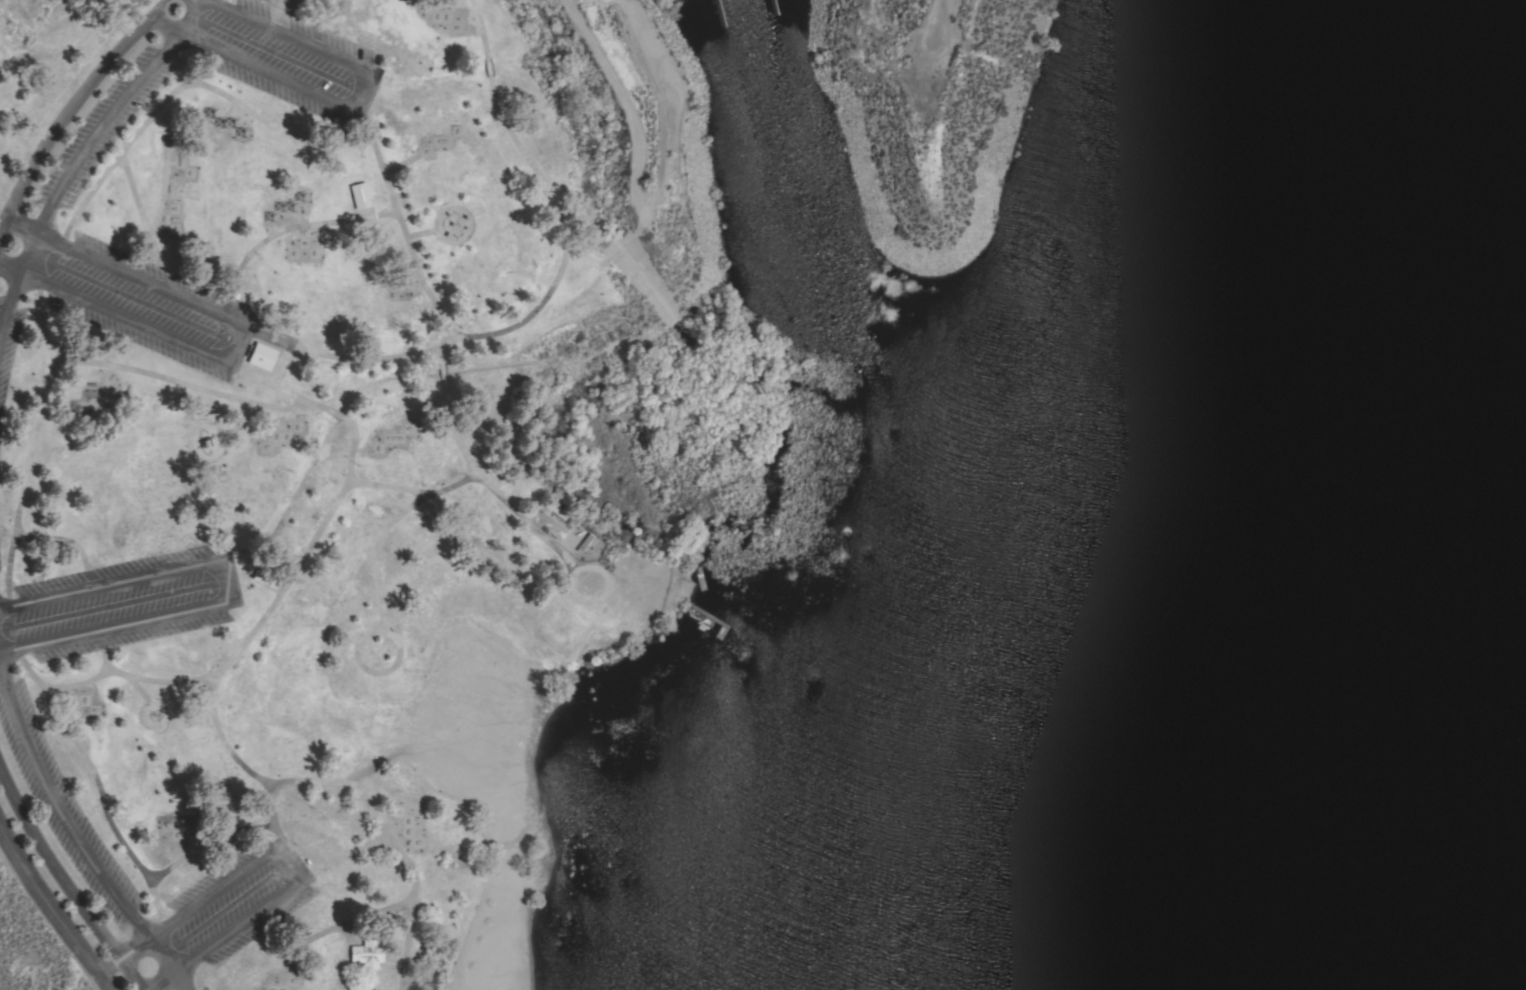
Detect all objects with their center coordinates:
road: (210, 1)
road: (317, 22)
parking lot: (270, 53)
road: (183, 64)
road: (180, 87)
road: (355, 96)
road: (233, 104)
road: (71, 109)
parking lot: (102, 127)
road: (401, 163)
road: (69, 171)
road: (163, 189)
building: (360, 195)
road: (364, 212)
road: (143, 219)
road: (304, 224)
road: (283, 229)
road: (292, 230)
road: (20, 231)
road: (418, 233)
road: (10, 268)
parking lot: (138, 299)
road: (531, 312)
parking lot: (9, 342)
road: (236, 342)
building: (261, 356)
road: (346, 357)
road: (261, 381)
road: (234, 397)
road: (240, 420)
road: (32, 442)
road: (357, 451)
road: (474, 476)
road: (387, 486)
building: (557, 512)
park: (758, 520)
road: (383, 528)
road: (70, 541)
parking lot: (0, 567)
road: (589, 567)
building: (266, 576)
road: (226, 579)
parking lot: (0, 595)
parking lot: (118, 604)
road: (396, 649)
road: (101, 651)
building: (163, 669)
road: (217, 670)
road: (138, 687)
building: (349, 748)
building: (129, 756)
road: (242, 765)
road: (95, 783)
parking lot: (62, 805)
road: (75, 836)
road: (205, 838)
road: (392, 838)
building: (305, 841)
road: (283, 862)
road: (65, 880)
road: (155, 903)
road: (52, 908)
parking lot: (225, 908)
road: (318, 934)
building: (368, 952)
road: (346, 954)
road: (123, 956)
road: (159, 981)
parking lot: (187, 986)
parking lot: (204, 988)

